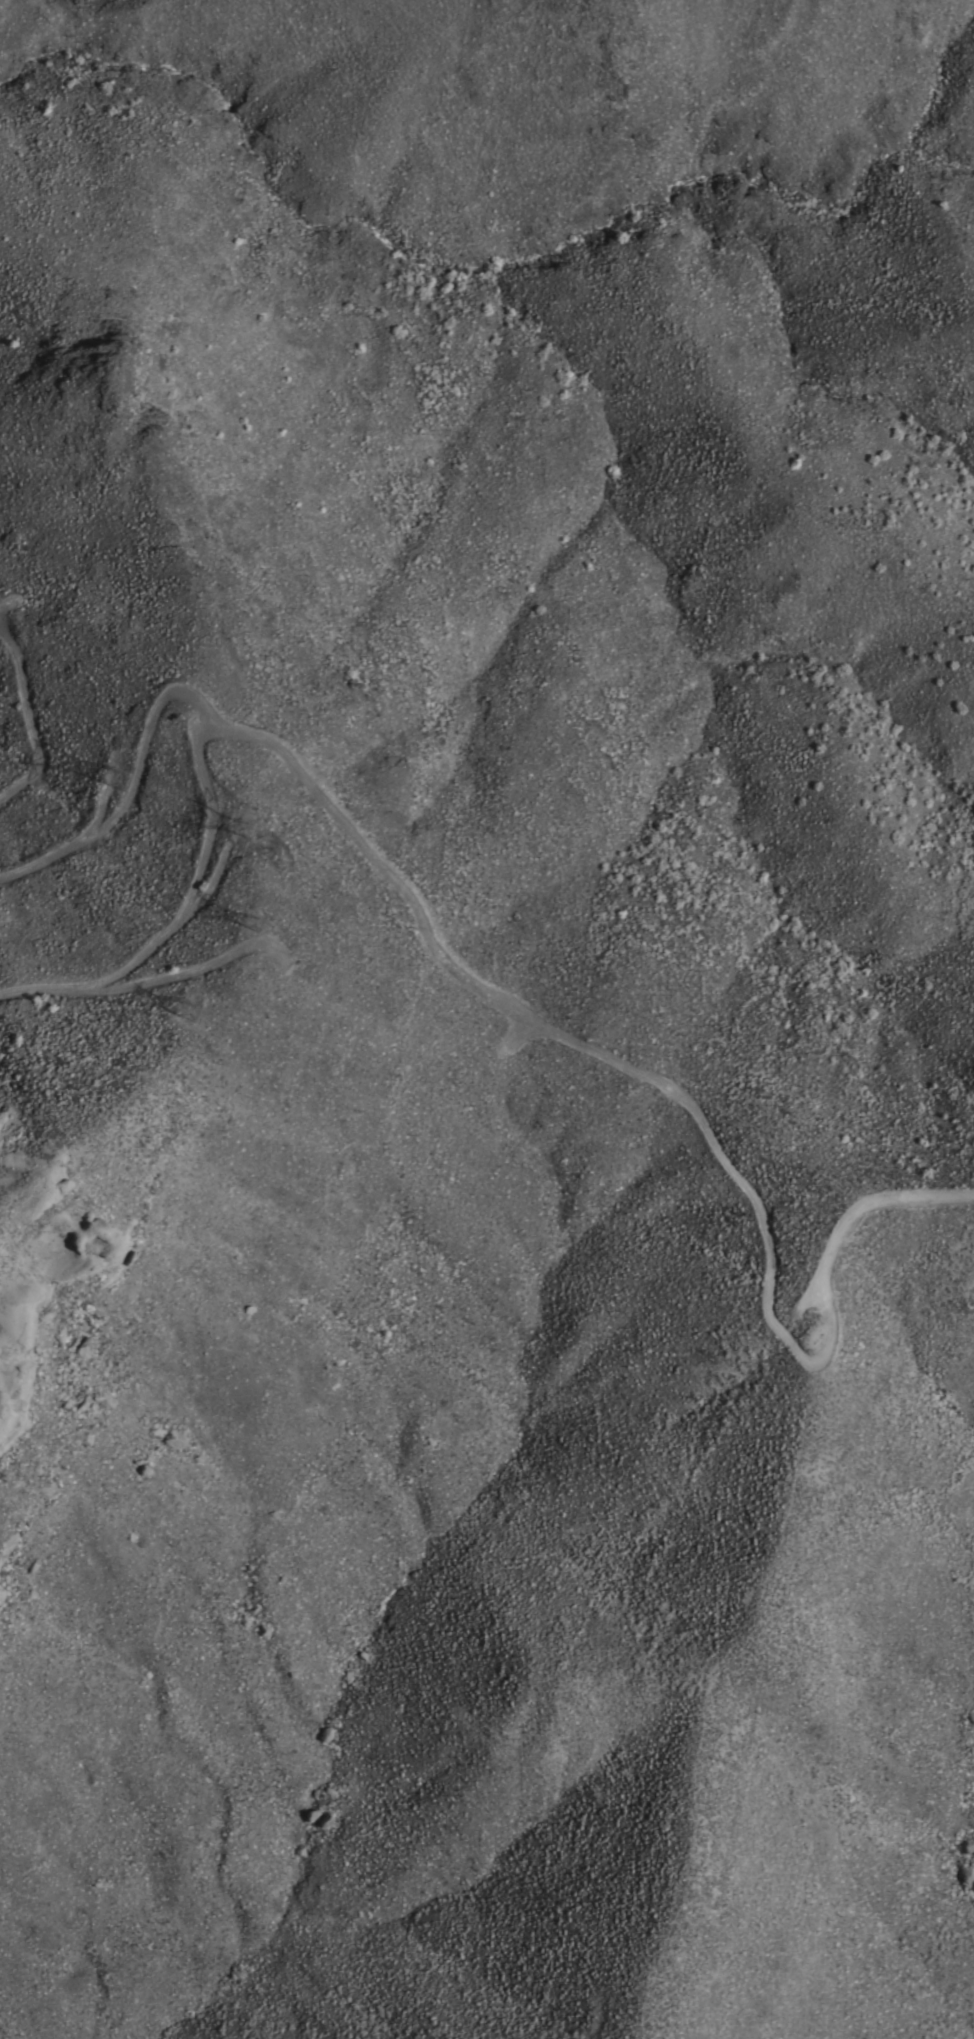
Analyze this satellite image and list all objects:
power tower: (115, 779)
power tower: (242, 825)
power tower: (255, 926)
power tower: (188, 1015)
building: (80, 1348)
building: (172, 1440)
building: (297, 1850)

